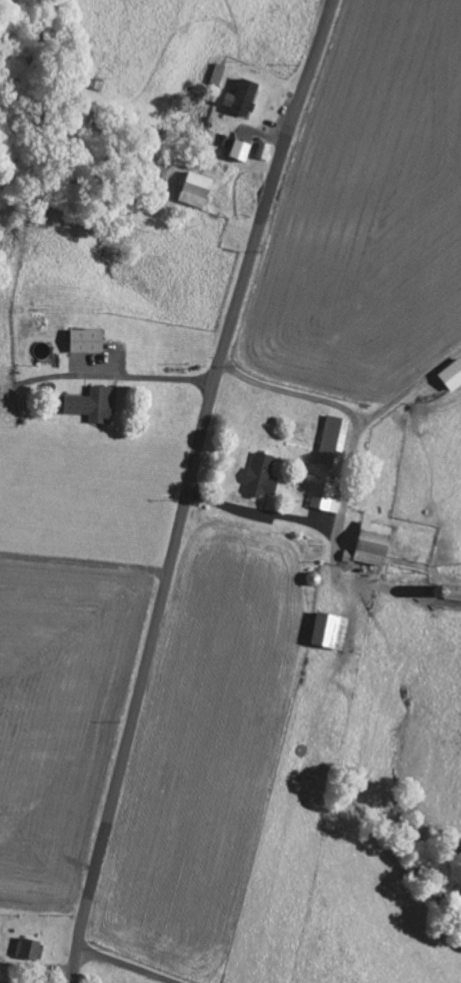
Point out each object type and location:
building: (238, 98)
building: (238, 150)
building: (261, 151)
building: (192, 190)
building: (83, 341)
building: (450, 375)
building: (89, 405)
building: (330, 442)
building: (259, 476)
road: (189, 487)
building: (323, 498)
building: (367, 545)
building: (452, 594)
building: (327, 632)
building: (27, 950)
road: (122, 966)
building: (5, 973)

